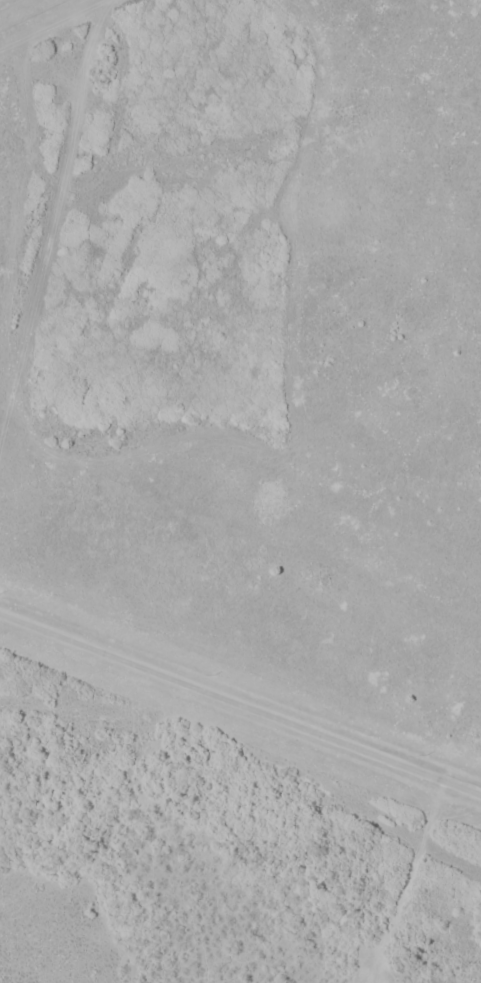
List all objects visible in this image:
road: (240, 700)

